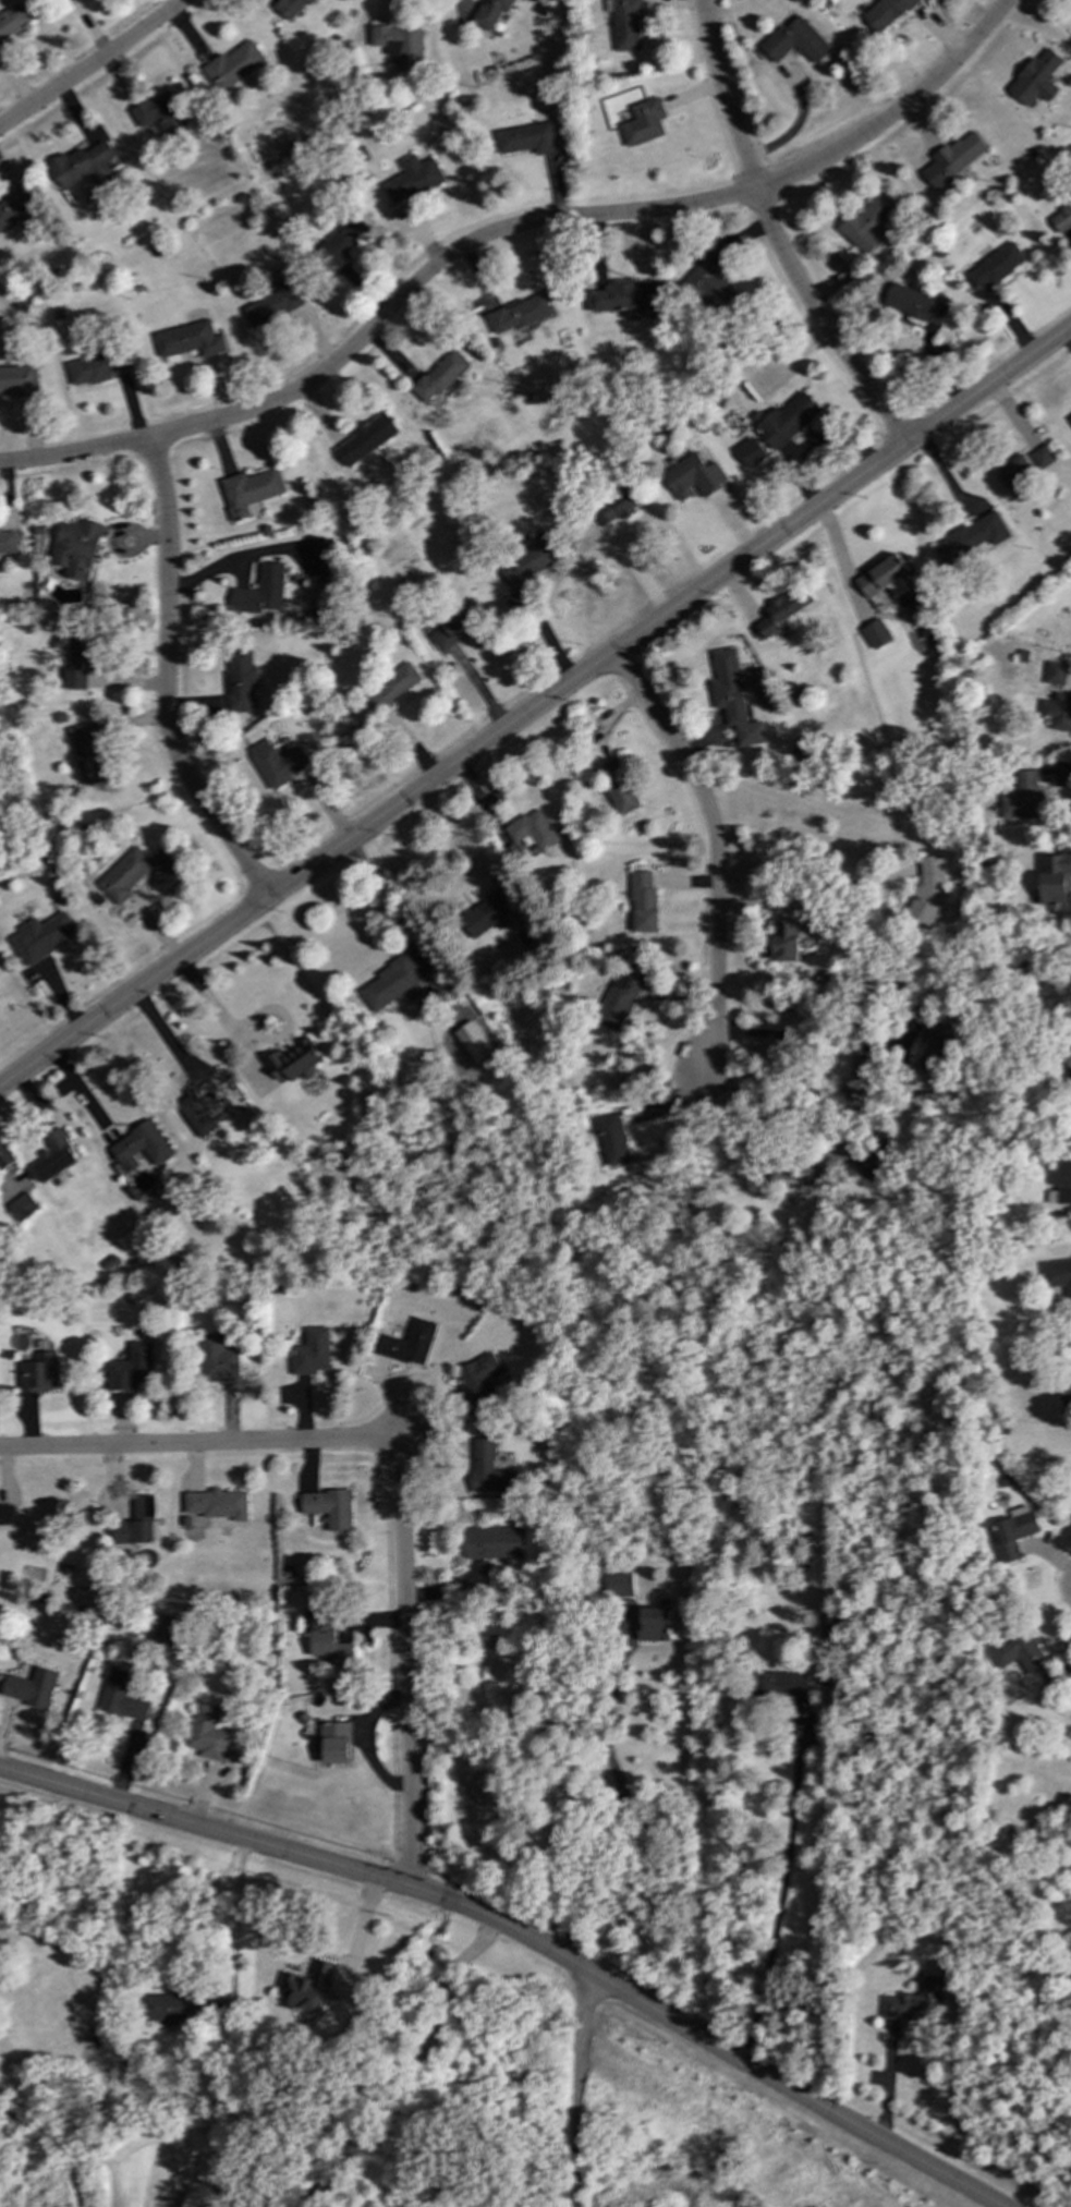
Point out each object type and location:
building: (69, 0)
building: (290, 9)
building: (491, 12)
building: (885, 13)
building: (12, 22)
building: (624, 23)
building: (794, 43)
building: (400, 46)
road: (93, 64)
building: (231, 65)
building: (1036, 78)
building: (160, 113)
building: (643, 122)
building: (526, 138)
building: (953, 158)
building: (82, 166)
building: (412, 179)
building: (16, 209)
building: (1061, 219)
building: (866, 222)
road: (504, 229)
road: (771, 235)
building: (340, 243)
building: (994, 266)
building: (710, 287)
building: (624, 299)
building: (272, 304)
building: (913, 304)
building: (518, 314)
building: (188, 340)
building: (98, 367)
building: (439, 377)
building: (17, 379)
building: (1070, 417)
building: (786, 421)
building: (364, 440)
building: (750, 452)
building: (1042, 458)
building: (1012, 472)
building: (693, 476)
building: (248, 490)
building: (616, 507)
building: (971, 537)
building: (7, 541)
building: (75, 548)
building: (319, 557)
building: (526, 569)
building: (884, 578)
building: (260, 591)
building: (783, 611)
building: (455, 624)
building: (876, 634)
building: (77, 663)
building: (1055, 674)
building: (240, 680)
road: (165, 682)
building: (392, 689)
building: (732, 698)
road: (535, 706)
building: (1057, 712)
building: (87, 754)
building: (277, 762)
road: (1064, 784)
building: (620, 795)
building: (1023, 798)
building: (532, 830)
road: (714, 841)
building: (165, 862)
road: (800, 874)
building: (123, 875)
building: (1055, 880)
road: (453, 888)
building: (928, 892)
building: (642, 902)
road: (389, 912)
building: (485, 914)
building: (41, 936)
building: (784, 941)
building: (390, 983)
building: (617, 1003)
road: (807, 1041)
building: (934, 1041)
building: (473, 1042)
building: (292, 1062)
building: (862, 1068)
building: (199, 1107)
building: (612, 1143)
building: (142, 1147)
building: (5, 1156)
building: (54, 1156)
building: (868, 1166)
building: (1063, 1183)
building: (22, 1206)
building: (1057, 1275)
building: (409, 1344)
building: (312, 1351)
building: (216, 1359)
building: (130, 1368)
building: (38, 1373)
building: (480, 1378)
building: (1064, 1394)
road: (405, 1464)
building: (489, 1469)
building: (217, 1504)
building: (329, 1507)
building: (7, 1514)
building: (135, 1524)
building: (1012, 1532)
building: (491, 1542)
building: (619, 1584)
building: (653, 1624)
building: (829, 1625)
building: (170, 1635)
building: (327, 1638)
building: (1019, 1653)
building: (780, 1684)
building: (29, 1687)
building: (120, 1697)
building: (207, 1734)
building: (336, 1743)
road: (621, 1805)
road: (781, 1892)
road: (235, 1926)
road: (524, 1936)
road: (358, 1938)
building: (307, 1987)
building: (913, 2001)
building: (172, 2008)
road: (412, 2063)
road: (887, 2083)
road: (581, 2090)

